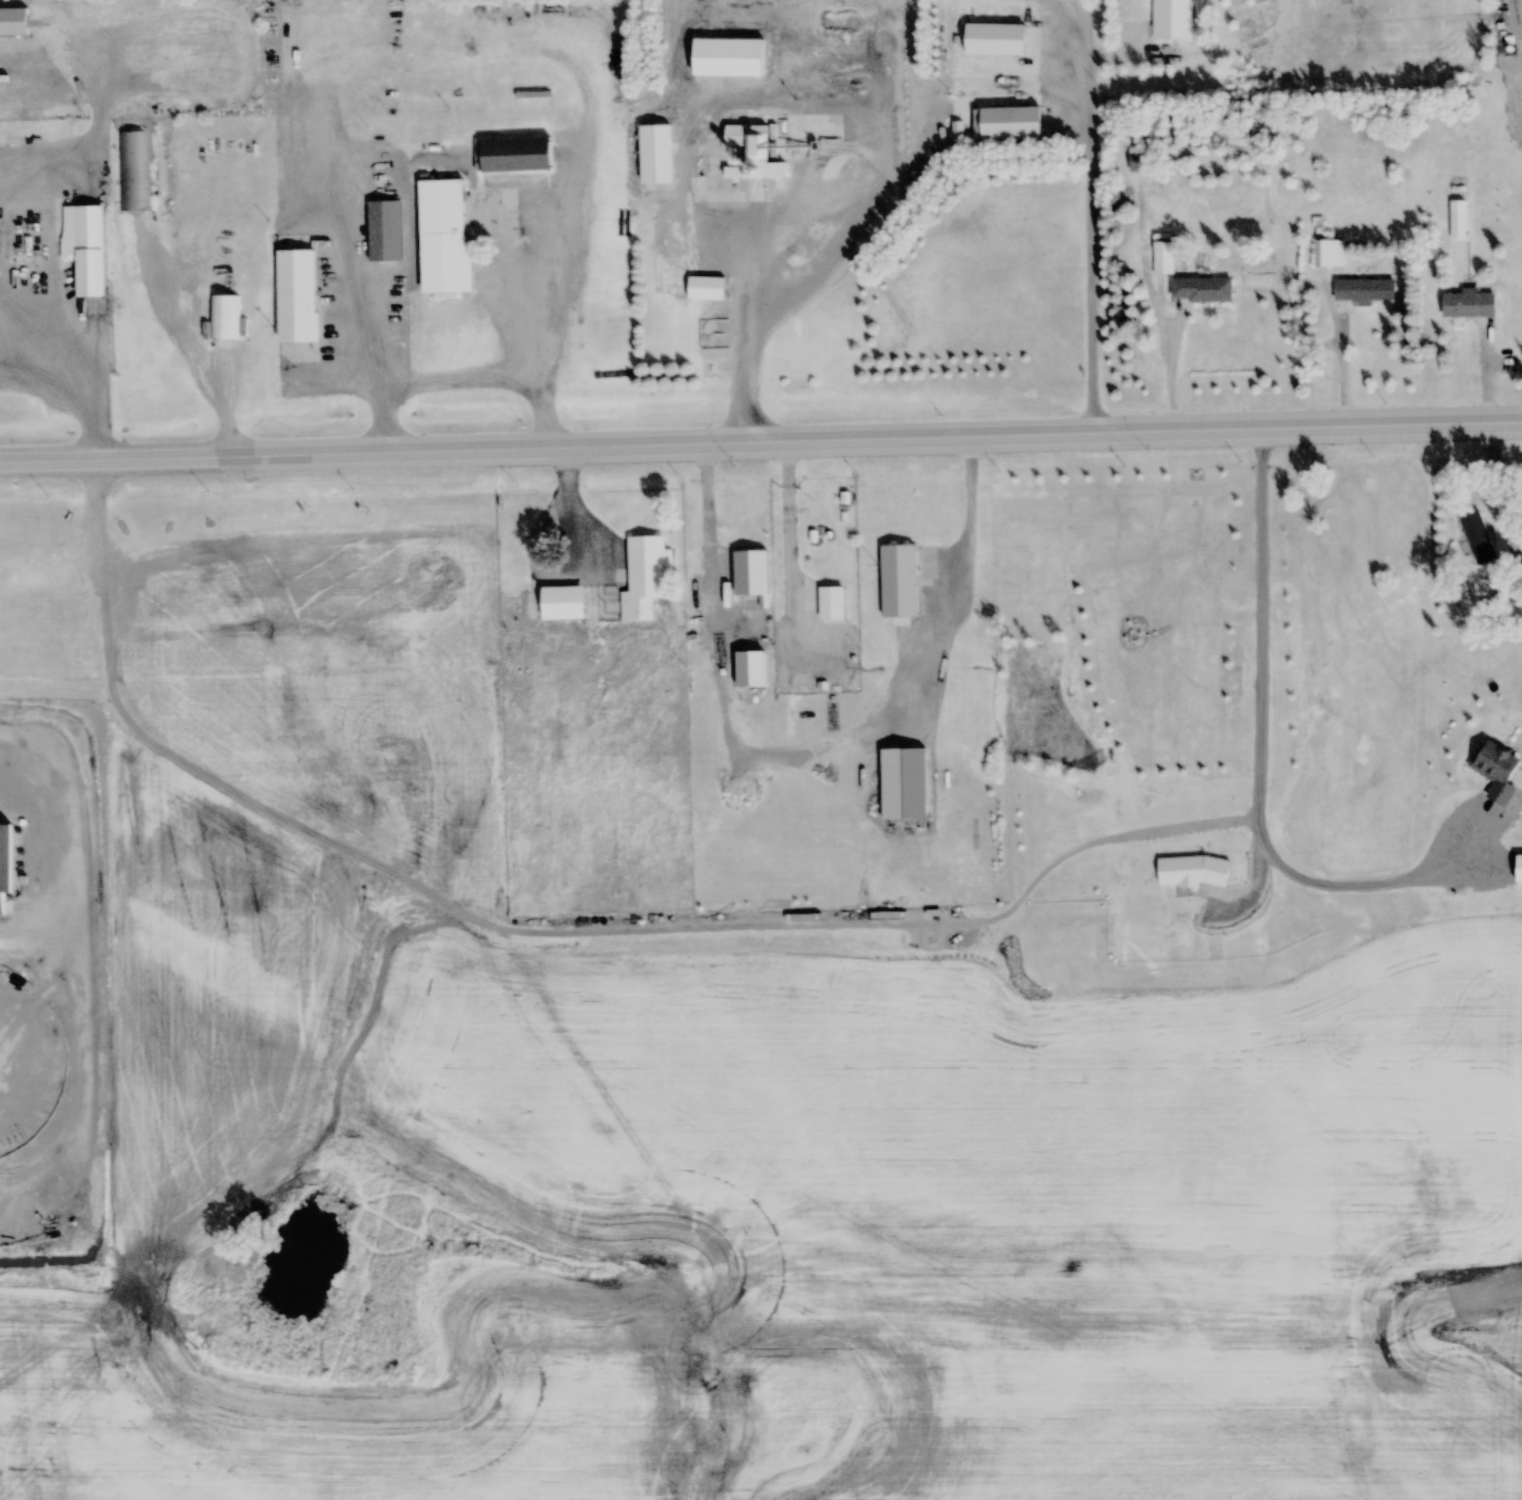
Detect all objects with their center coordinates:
building: (1031, 5)
building: (1173, 20)
building: (728, 57)
building: (1514, 69)
building: (1513, 94)
building: (1514, 112)
building: (1514, 133)
building: (798, 141)
building: (656, 153)
building: (517, 155)
building: (1143, 162)
building: (136, 171)
building: (1458, 191)
building: (386, 230)
building: (445, 239)
building: (1329, 254)
building: (1163, 257)
building: (1201, 289)
building: (1364, 290)
building: (297, 297)
building: (1468, 305)
building: (226, 319)
road: (761, 446)
building: (1478, 538)
building: (752, 574)
building: (645, 578)
building: (899, 581)
building: (832, 604)
building: (750, 669)
building: (151, 700)
building: (163, 700)
building: (1496, 770)
building: (904, 783)

